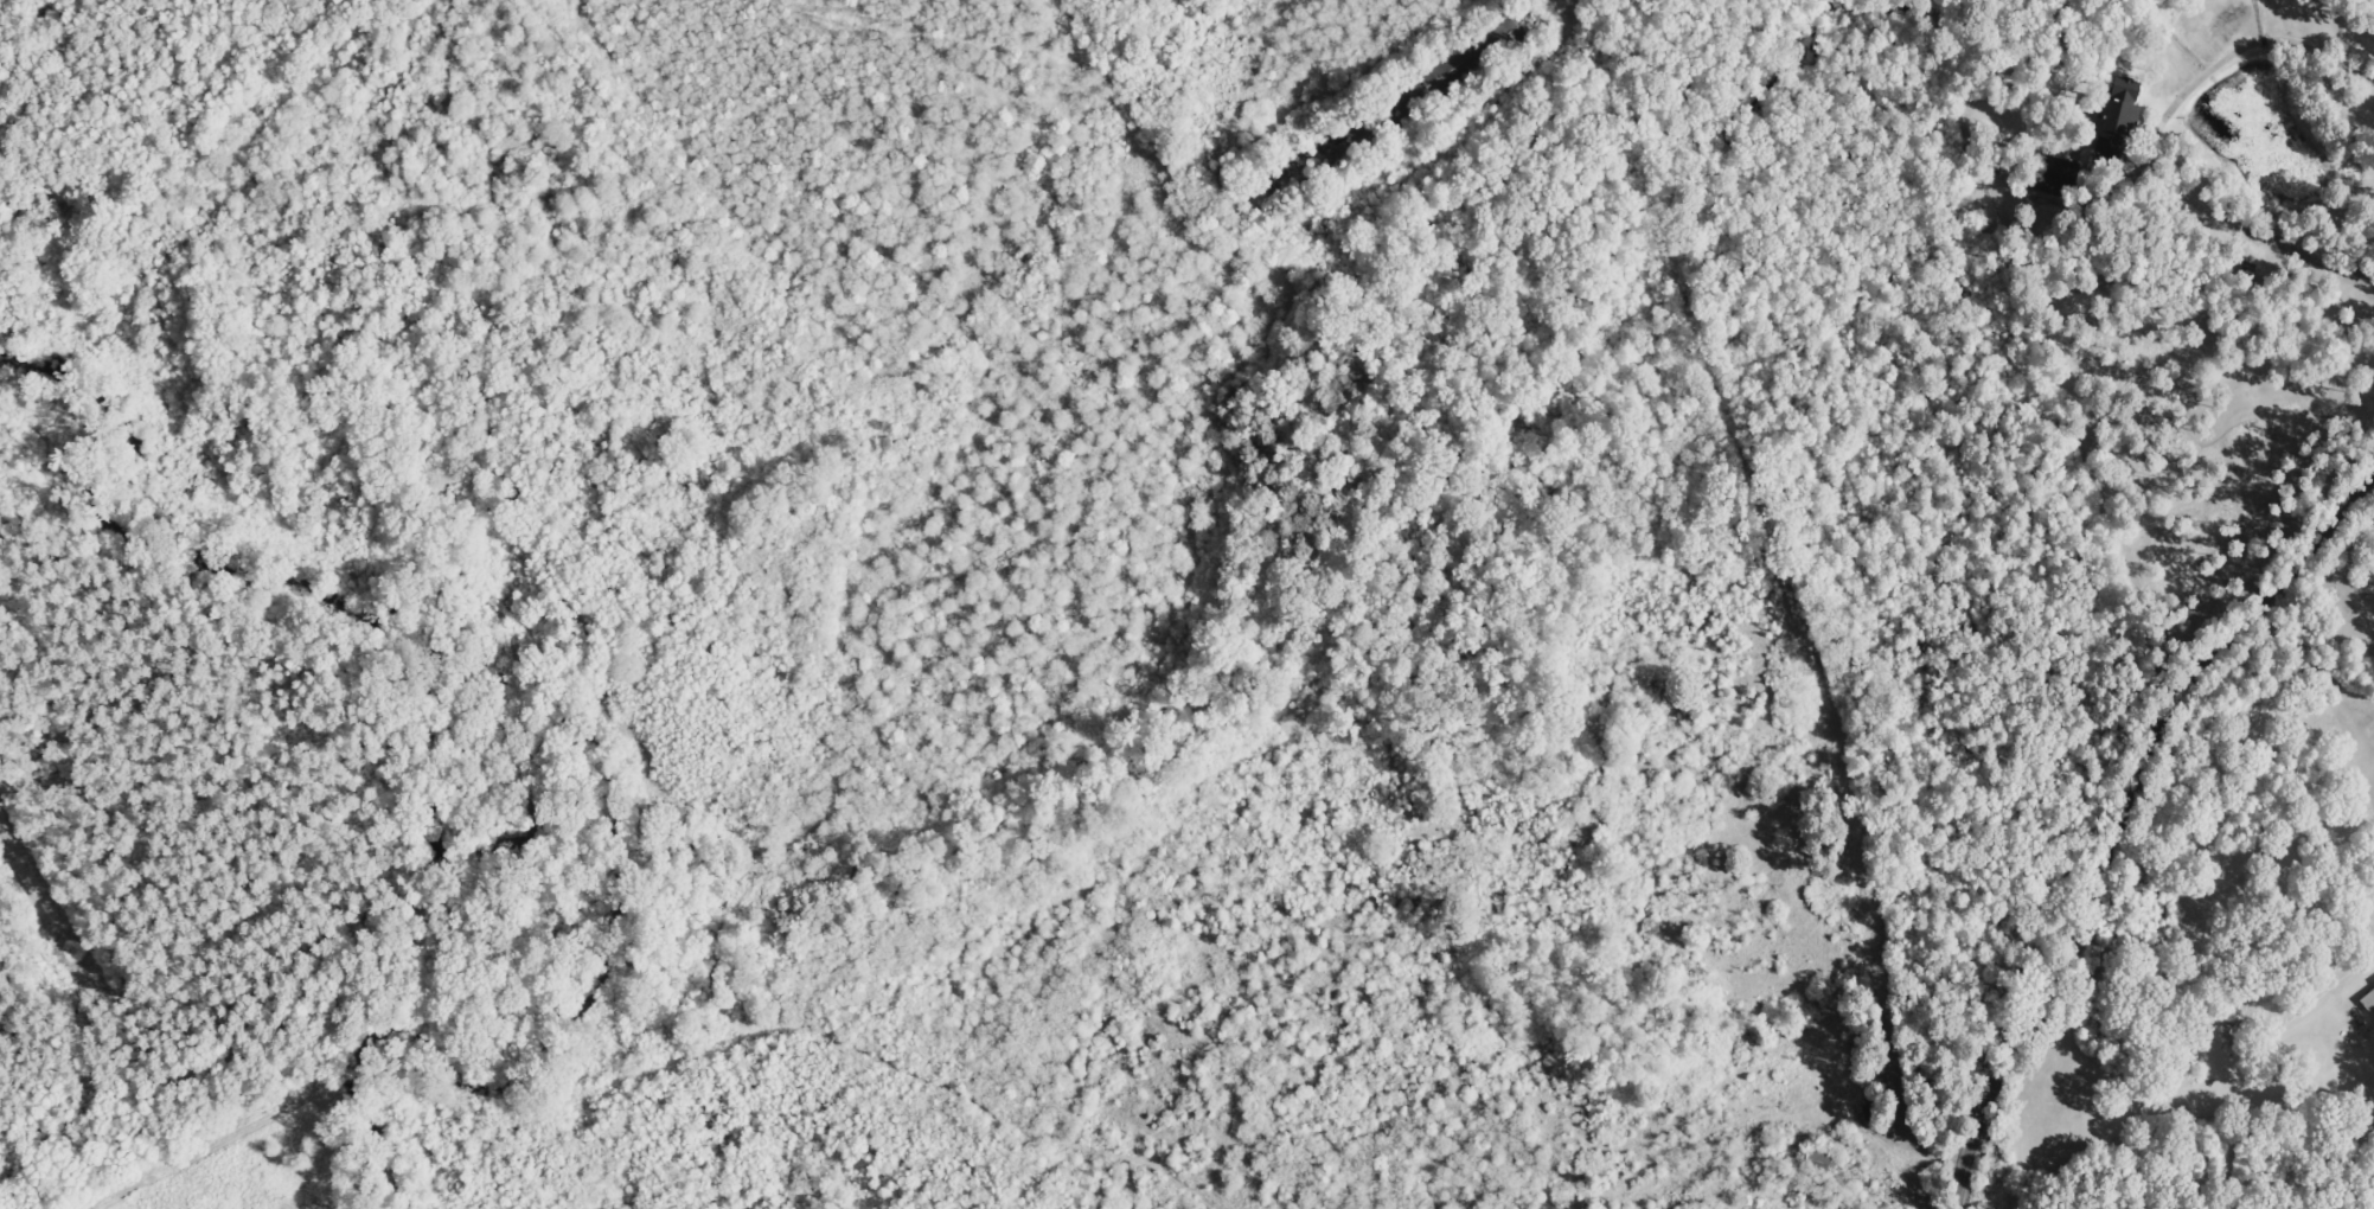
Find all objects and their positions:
building: (2120, 111)
building: (2047, 173)
road: (2113, 805)
building: (2368, 999)

